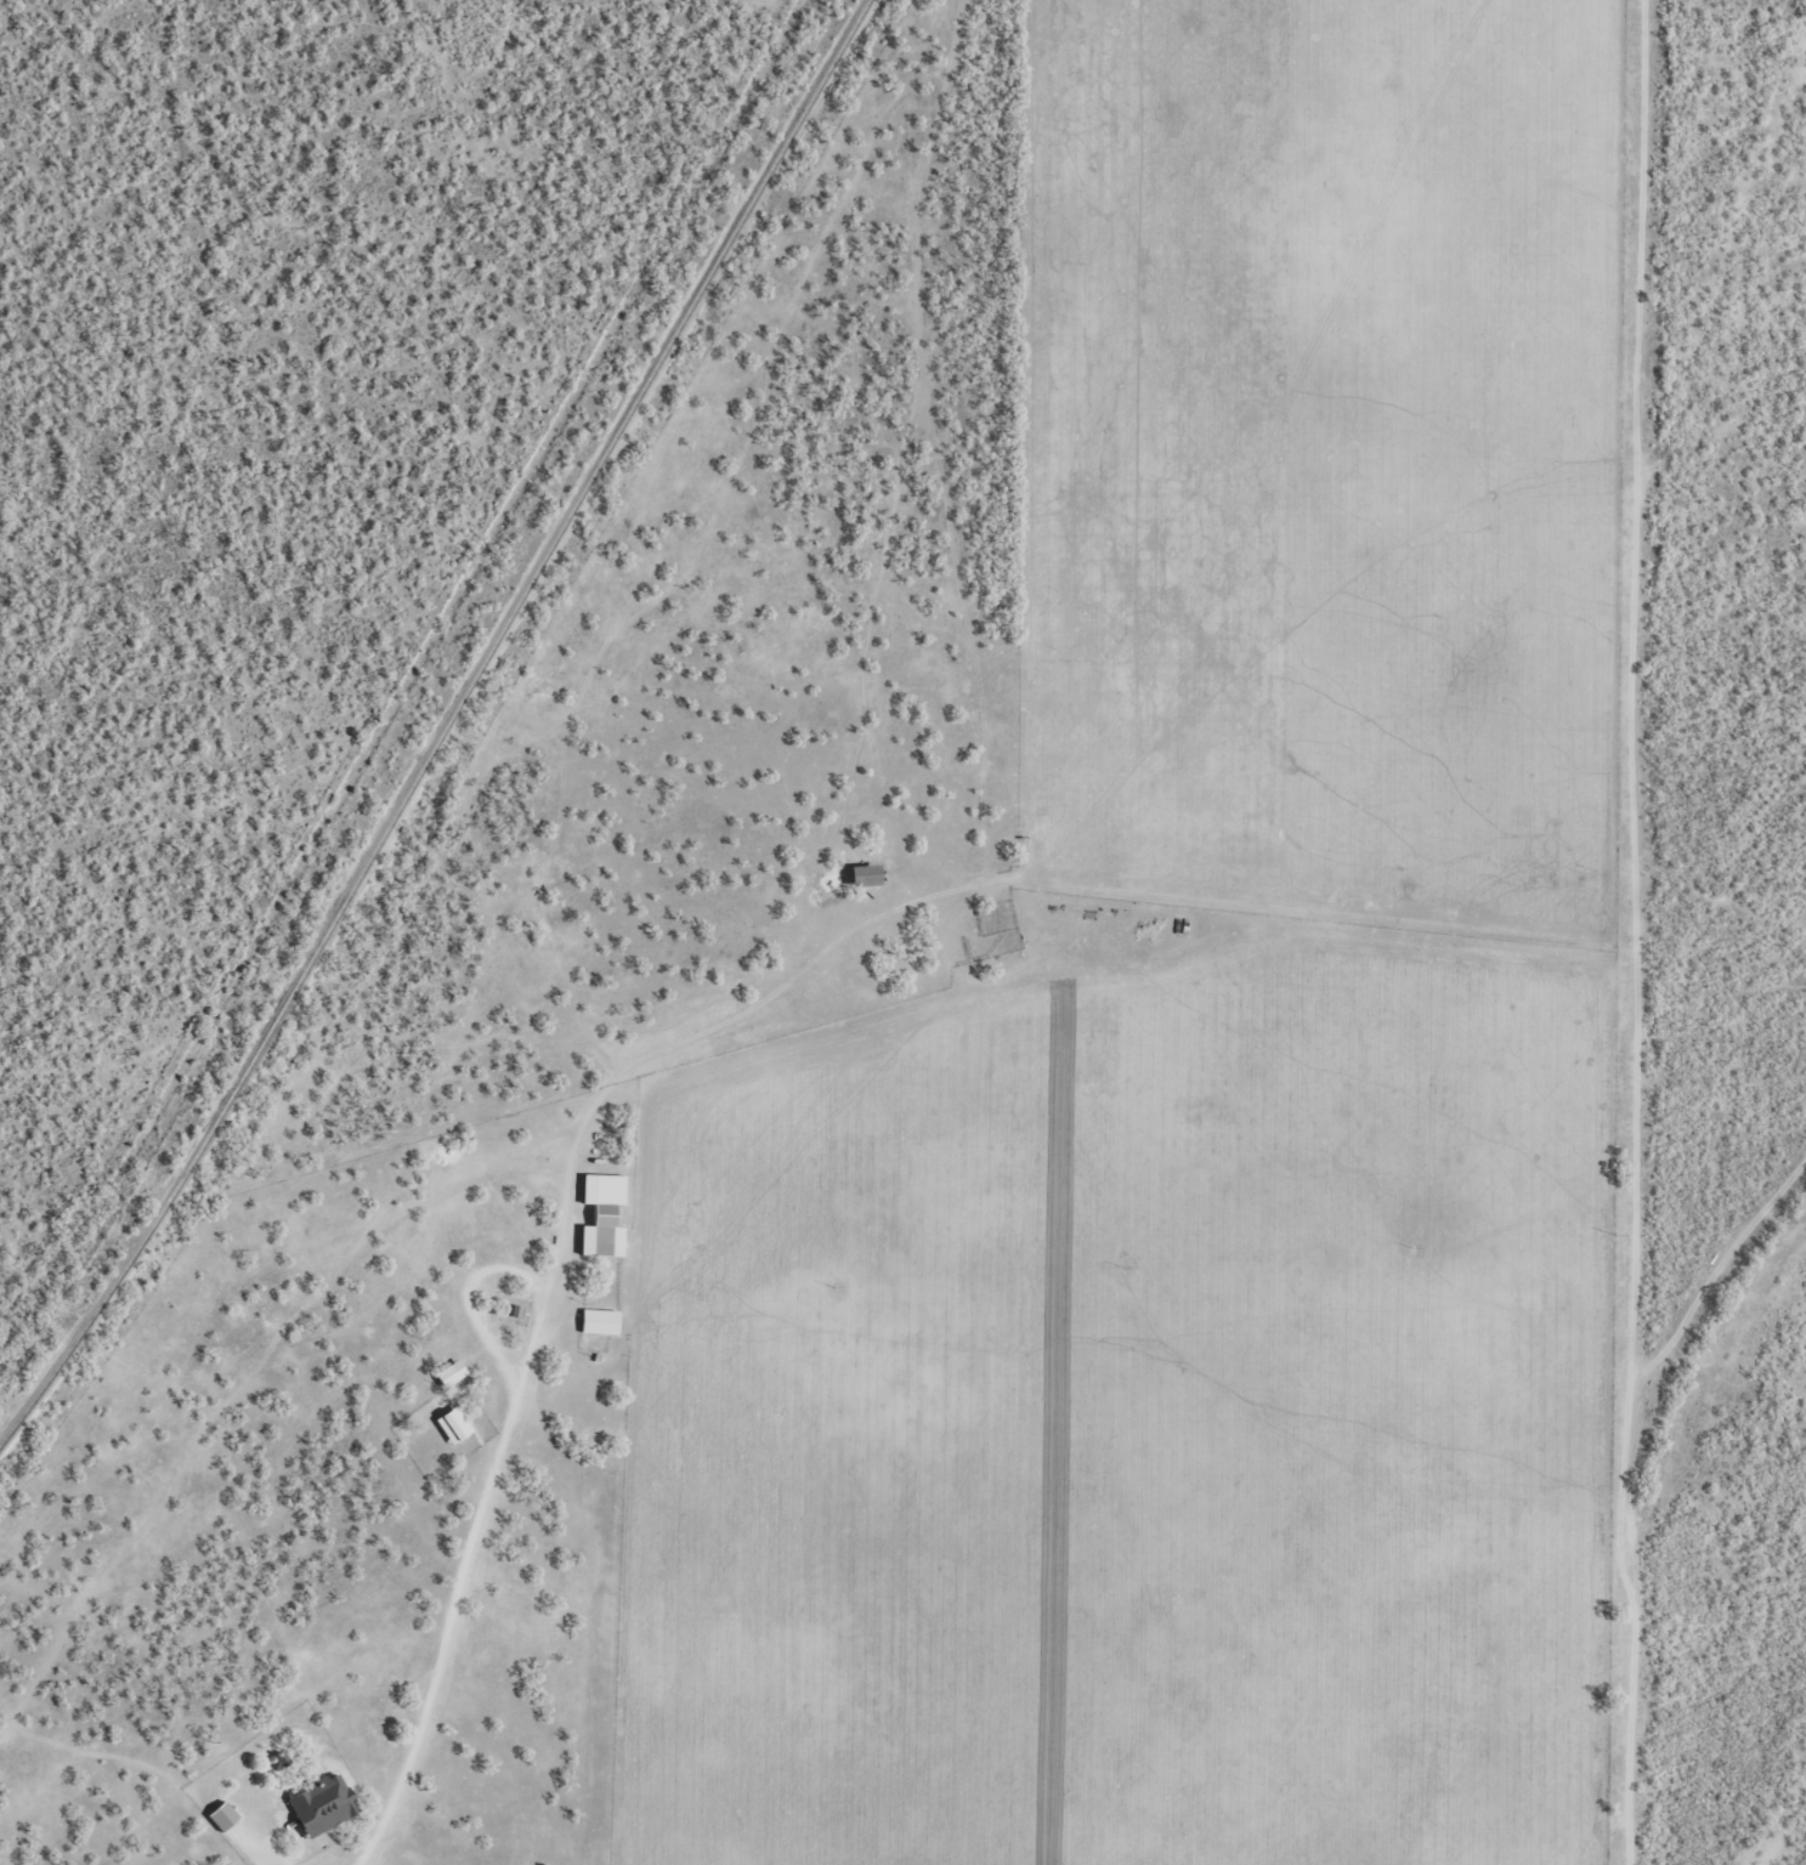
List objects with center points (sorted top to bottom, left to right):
railway: (442, 725)
building: (859, 875)
road: (822, 956)
building: (600, 1213)
building: (596, 1320)
building: (447, 1372)
building: (449, 1422)
building: (317, 1804)
building: (219, 1814)

